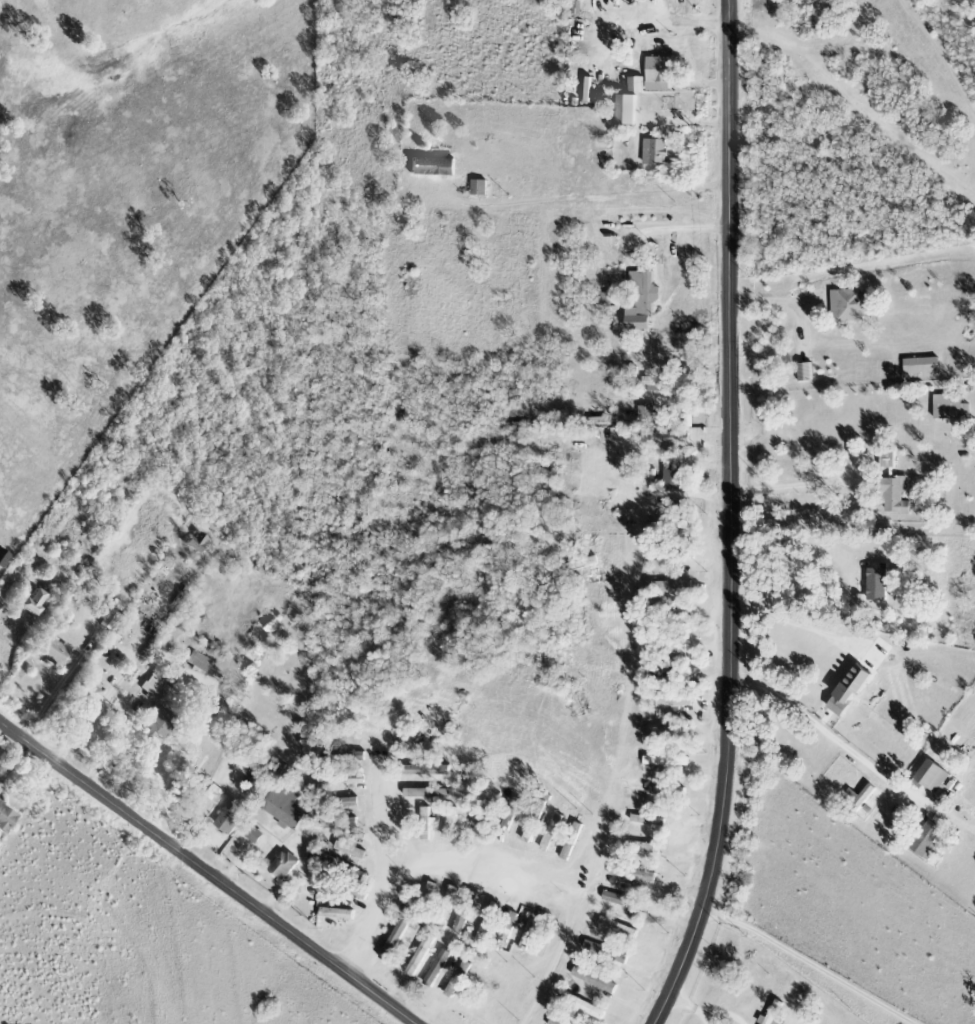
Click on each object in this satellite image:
road: (676, 21)
building: (661, 73)
building: (624, 74)
building: (639, 84)
building: (629, 109)
building: (658, 151)
building: (436, 166)
building: (482, 187)
road: (667, 228)
building: (606, 299)
building: (644, 300)
road: (778, 302)
building: (850, 305)
building: (923, 367)
building: (806, 372)
building: (662, 383)
building: (952, 407)
building: (650, 414)
road: (794, 485)
building: (896, 487)
road: (729, 518)
building: (665, 528)
road: (795, 541)
building: (200, 542)
building: (673, 554)
building: (880, 584)
building: (670, 589)
building: (36, 602)
building: (109, 619)
road: (794, 623)
building: (121, 628)
building: (54, 650)
building: (199, 661)
building: (155, 683)
building: (853, 690)
building: (88, 691)
road: (108, 697)
building: (677, 702)
building: (162, 722)
building: (672, 731)
road: (832, 736)
building: (668, 761)
building: (428, 770)
building: (934, 776)
building: (1, 787)
building: (653, 790)
building: (185, 791)
building: (215, 793)
building: (428, 793)
building: (860, 798)
building: (287, 807)
building: (8, 816)
building: (230, 817)
building: (646, 820)
building: (343, 822)
building: (426, 823)
building: (554, 832)
building: (253, 833)
building: (929, 840)
building: (574, 841)
building: (643, 846)
building: (351, 849)
building: (322, 855)
road: (447, 864)
building: (286, 865)
road: (207, 873)
building: (634, 873)
road: (377, 875)
building: (627, 902)
building: (447, 905)
building: (340, 914)
building: (460, 921)
building: (487, 924)
building: (509, 927)
building: (620, 927)
building: (528, 934)
building: (396, 940)
building: (601, 949)
building: (422, 956)
road: (808, 963)
building: (438, 967)
building: (460, 979)
building: (596, 980)
road: (685, 1000)
building: (585, 1005)
road: (726, 1010)
building: (775, 1014)
road: (705, 1016)
building: (555, 1022)

